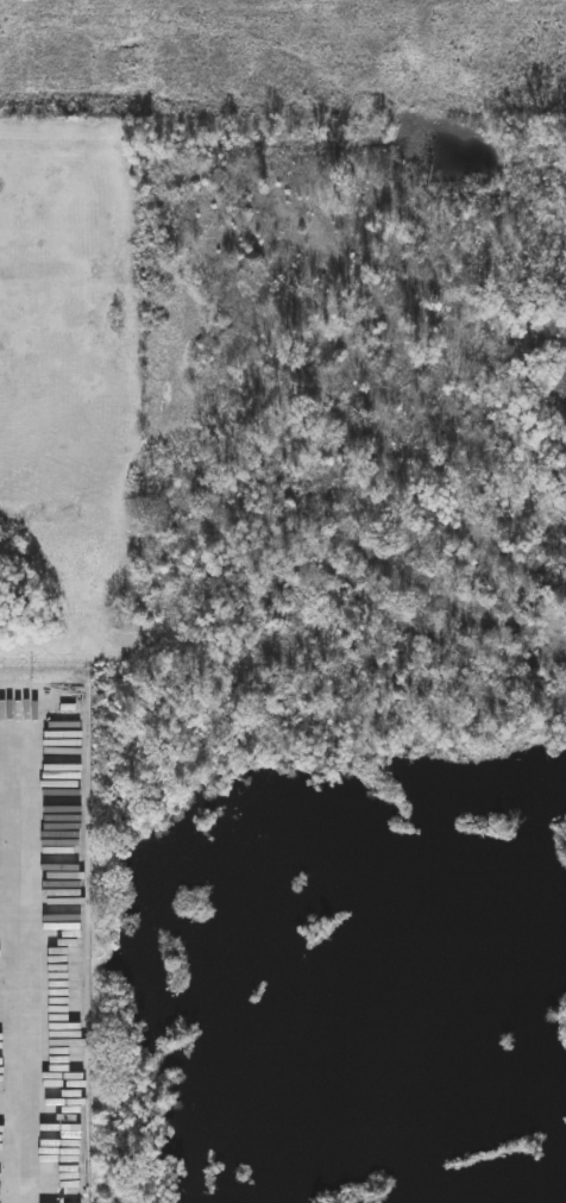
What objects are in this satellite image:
road: (15, 728)
road: (14, 920)
road: (29, 965)

